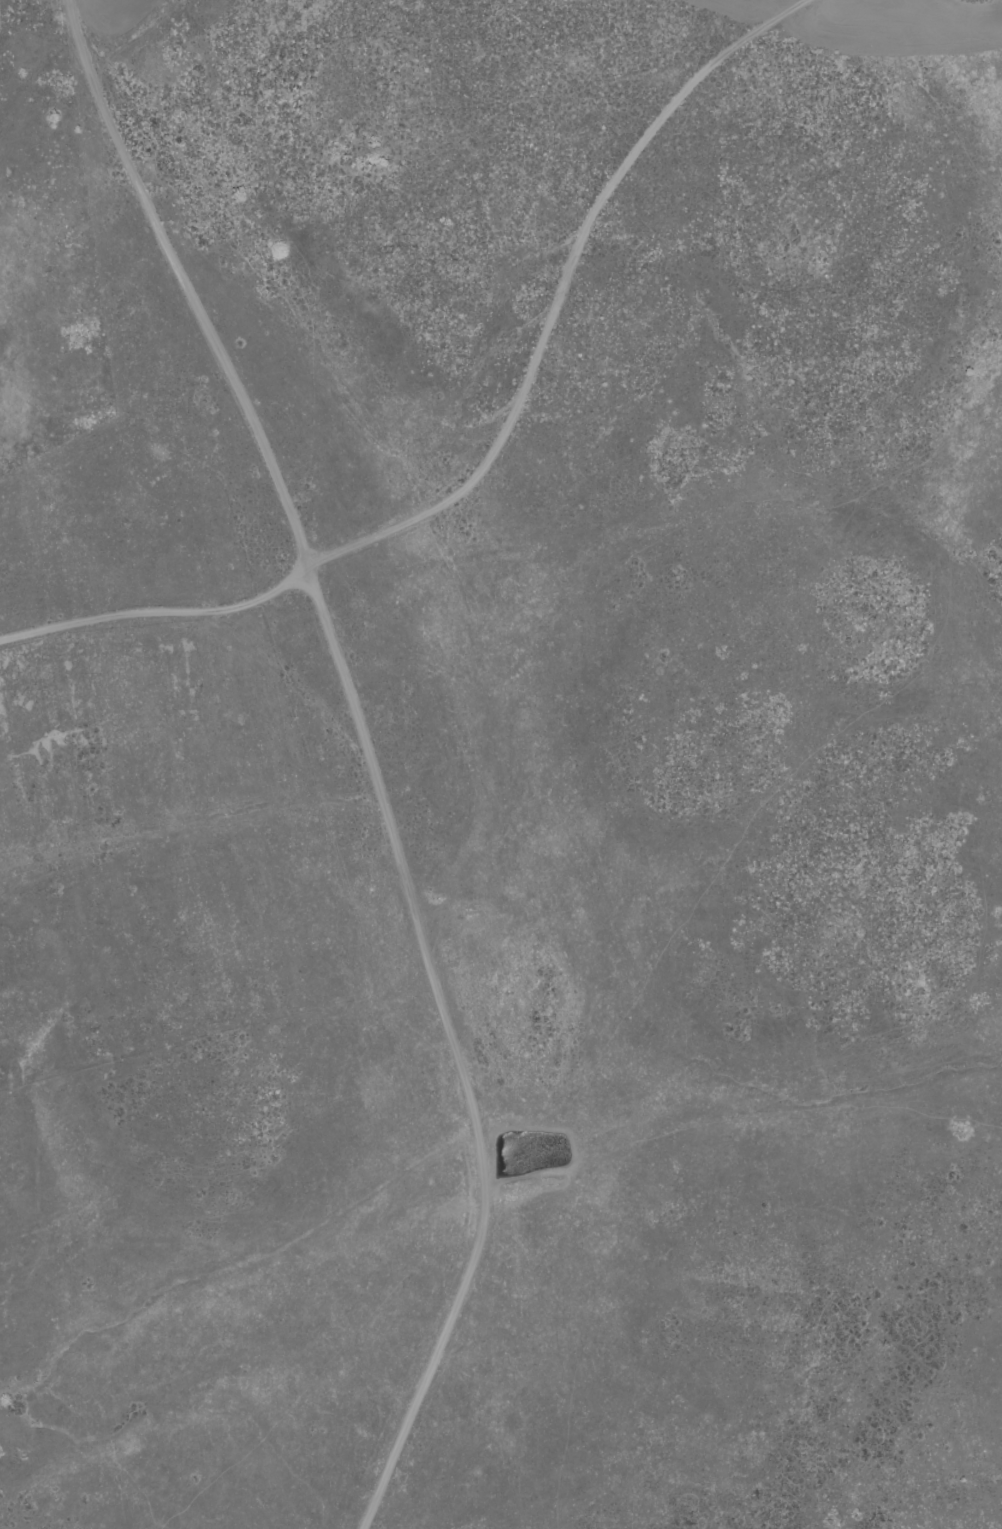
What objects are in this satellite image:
road: (186, 284)
road: (500, 444)

